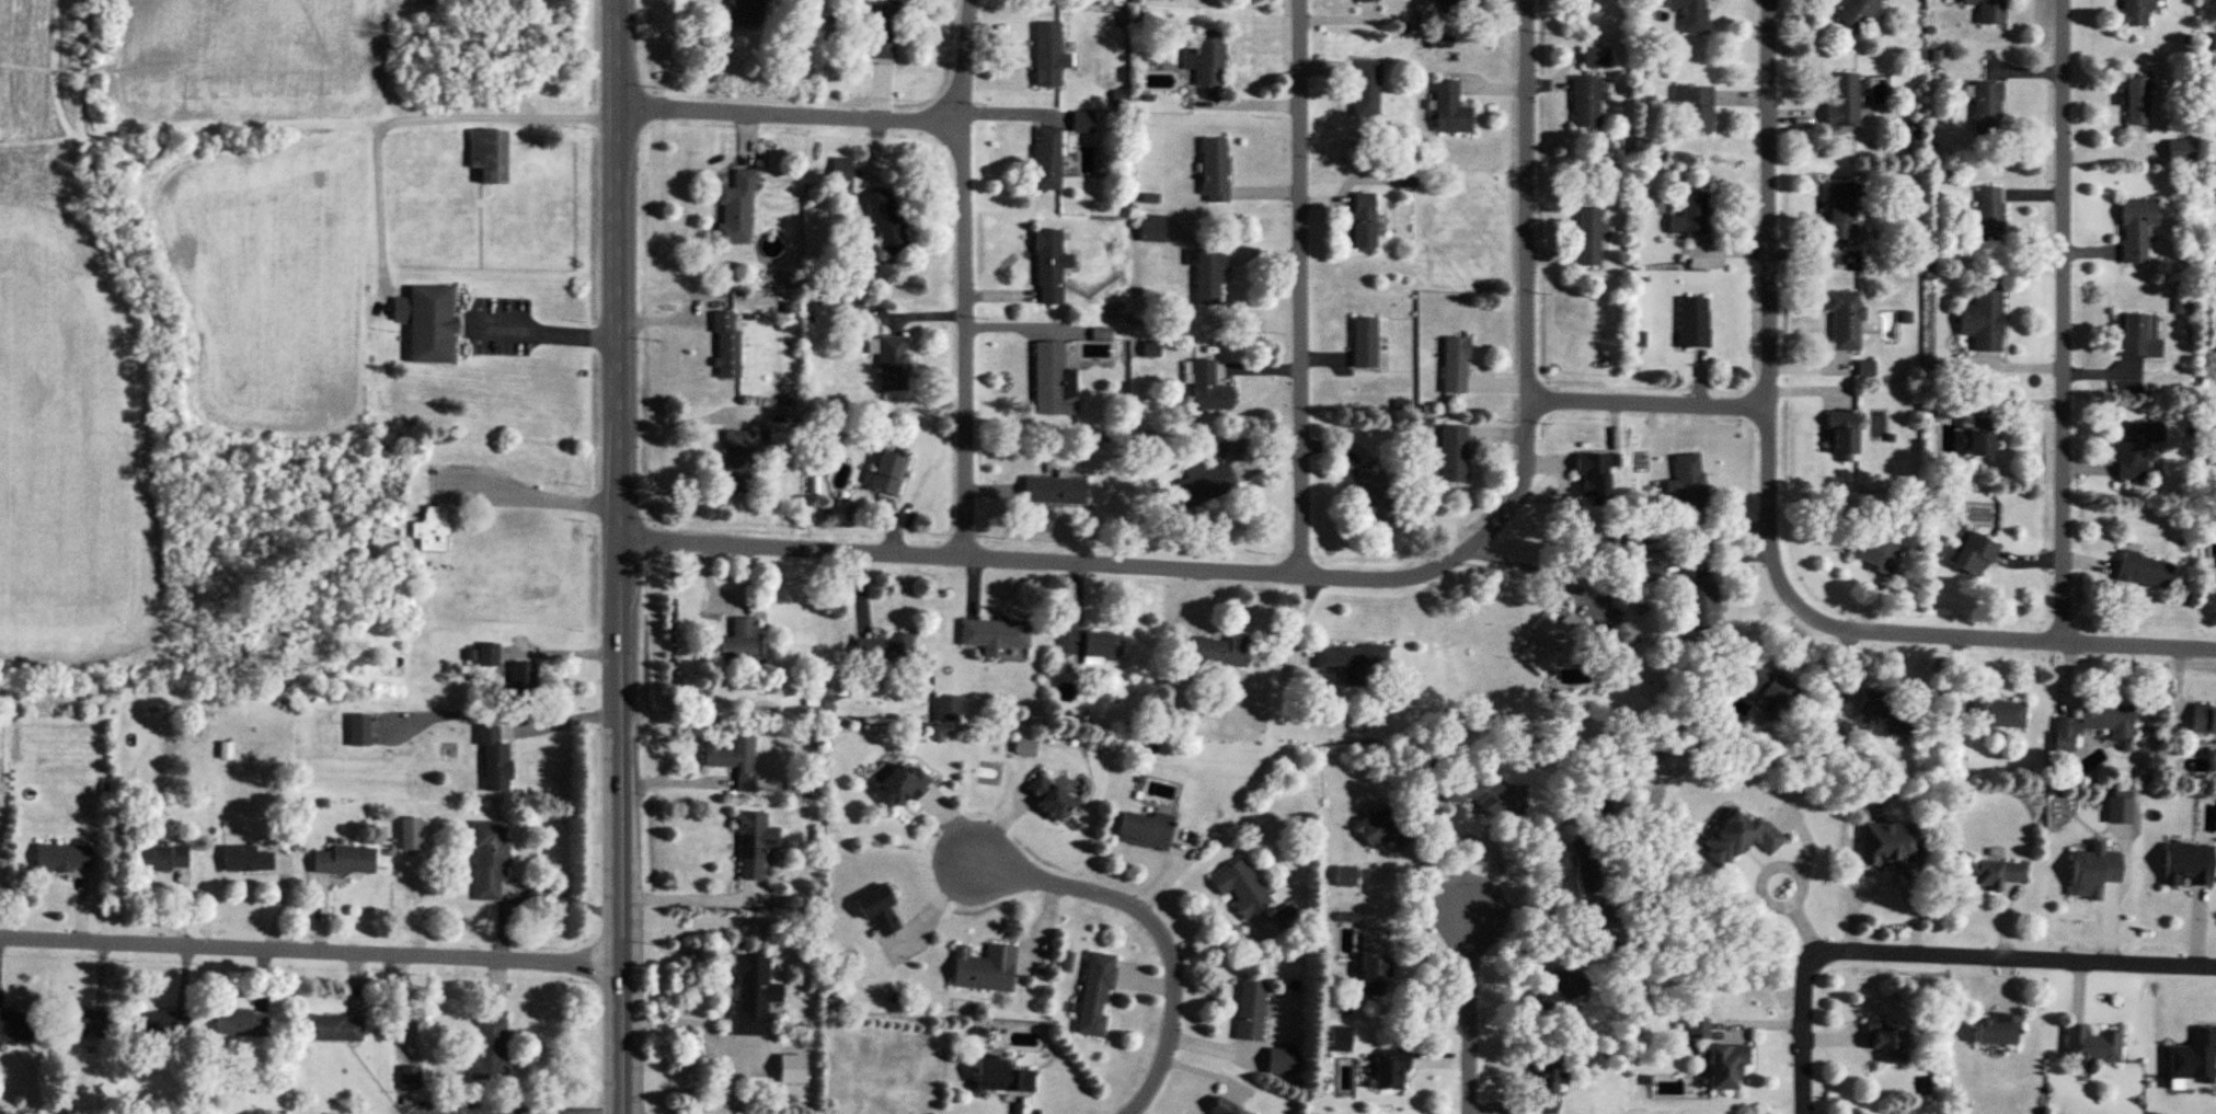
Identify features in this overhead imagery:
building: (1366, 1)
building: (1455, 2)
building: (1989, 11)
building: (2136, 12)
building: (747, 13)
building: (1860, 13)
building: (1695, 16)
building: (881, 30)
building: (1048, 56)
building: (1598, 58)
building: (1206, 59)
building: (1365, 90)
building: (2136, 101)
building: (1585, 102)
building: (1842, 102)
building: (1696, 107)
building: (1987, 108)
building: (1450, 110)
road: (794, 114)
road: (421, 119)
building: (489, 156)
building: (1047, 159)
building: (1214, 170)
building: (842, 174)
road: (1529, 199)
road: (1768, 203)
building: (736, 208)
building: (1839, 210)
building: (1690, 215)
building: (1989, 216)
building: (886, 220)
building: (1363, 222)
building: (1156, 228)
building: (2136, 229)
building: (1588, 238)
building: (1049, 267)
road: (621, 268)
building: (1208, 275)
road: (967, 278)
road: (1304, 287)
building: (1845, 320)
road: (2064, 321)
building: (1983, 322)
building: (428, 323)
building: (1693, 323)
road: (544, 326)
building: (2138, 336)
building: (1365, 343)
building: (726, 347)
building: (891, 361)
building: (1455, 366)
building: (1053, 381)
building: (1208, 389)
road: (1647, 402)
road: (688, 421)
building: (1841, 436)
building: (1982, 437)
building: (2135, 450)
building: (1454, 453)
building: (739, 461)
building: (888, 473)
building: (1593, 475)
building: (1687, 486)
building: (1201, 487)
building: (1054, 491)
road: (530, 493)
building: (1377, 494)
building: (433, 530)
building: (1878, 556)
building: (1973, 556)
road: (1133, 565)
building: (2144, 572)
building: (1700, 606)
road: (1902, 632)
building: (995, 636)
building: (738, 642)
building: (1092, 644)
building: (1548, 647)
building: (884, 650)
building: (1218, 653)
building: (489, 656)
building: (1353, 662)
building: (524, 677)
building: (1770, 688)
building: (948, 709)
building: (1880, 714)
building: (1999, 714)
building: (2204, 720)
road: (563, 722)
building: (2094, 724)
building: (1024, 748)
road: (667, 756)
building: (732, 758)
building: (494, 761)
building: (898, 789)
building: (1483, 796)
building: (1048, 799)
building: (2120, 807)
road: (622, 825)
building: (1382, 829)
building: (1145, 831)
building: (1738, 839)
building: (753, 846)
building: (1891, 846)
building: (62, 859)
building: (161, 859)
building: (246, 860)
building: (490, 860)
building: (344, 861)
building: (2188, 865)
building: (1587, 866)
road: (1767, 871)
building: (2093, 872)
building: (1996, 876)
building: (1345, 877)
road: (1879, 881)
building: (1241, 889)
road: (687, 899)
road: (938, 907)
building: (877, 910)
road: (1159, 929)
road: (311, 943)
road: (1934, 952)
building: (984, 969)
building: (1374, 976)
building: (1561, 989)
building: (753, 995)
building: (1095, 995)
road: (1472, 1008)
building: (1250, 1011)
building: (83, 1023)
building: (240, 1023)
building: (162, 1025)
building: (15, 1026)
building: (329, 1029)
building: (1997, 1031)
road: (707, 1032)
building: (1341, 1038)
building: (1885, 1043)
building: (2091, 1048)
building: (490, 1050)
building: (1725, 1067)
building: (790, 1069)
building: (1389, 1069)
building: (410, 1078)
building: (1001, 1078)
building: (1547, 1082)
building: (1225, 1109)

